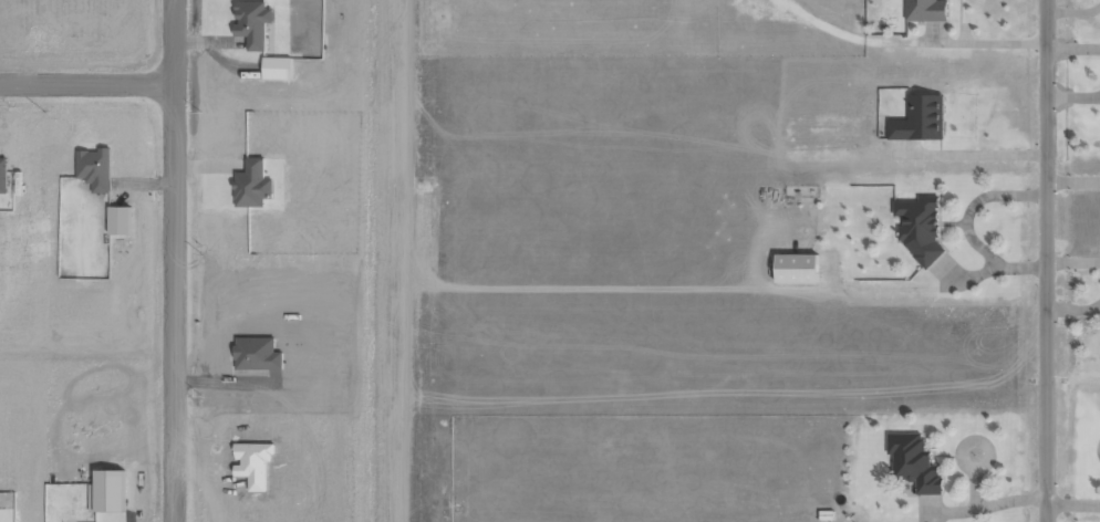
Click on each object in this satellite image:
building: (925, 10)
road: (85, 83)
building: (919, 119)
building: (94, 168)
building: (2, 175)
building: (919, 225)
road: (172, 260)
road: (1045, 261)
building: (795, 269)
building: (913, 462)

